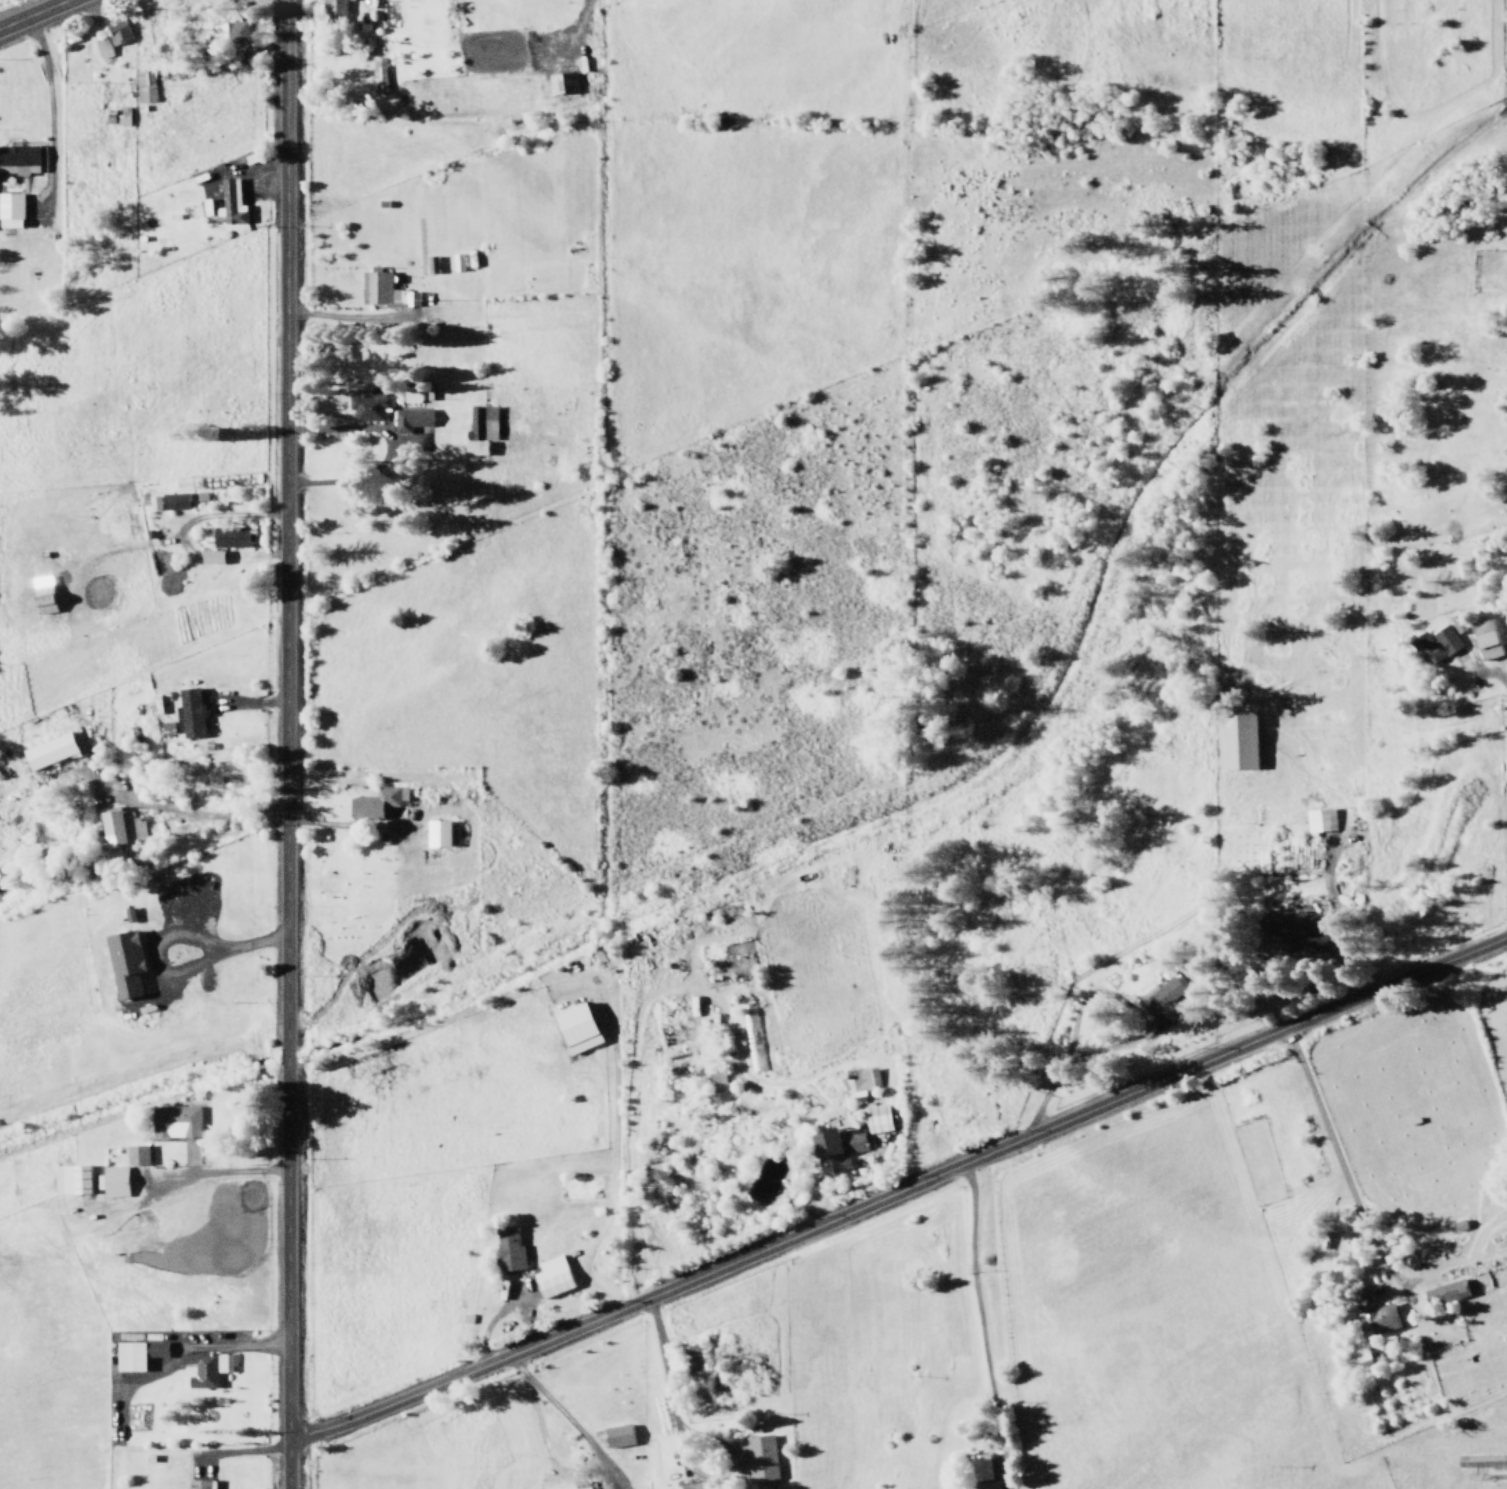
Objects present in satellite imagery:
building: (333, 10)
road: (33, 13)
building: (116, 30)
building: (228, 30)
building: (102, 47)
building: (377, 73)
building: (561, 80)
building: (144, 85)
building: (18, 158)
building: (230, 201)
building: (10, 209)
building: (375, 285)
building: (413, 419)
building: (479, 427)
building: (167, 500)
building: (229, 535)
building: (210, 555)
building: (42, 594)
building: (1485, 638)
building: (1434, 643)
building: (191, 710)
building: (1236, 738)
road: (283, 744)
building: (48, 750)
building: (376, 801)
road: (1506, 808)
building: (1319, 819)
building: (122, 830)
building: (437, 832)
building: (1292, 926)
building: (124, 962)
building: (1160, 997)
building: (575, 1028)
building: (870, 1076)
building: (718, 1081)
building: (877, 1117)
building: (174, 1120)
building: (837, 1148)
building: (136, 1154)
building: (70, 1179)
building: (111, 1180)
road: (898, 1188)
building: (509, 1248)
building: (551, 1276)
building: (1445, 1292)
building: (1376, 1317)
building: (136, 1350)
building: (695, 1357)
building: (205, 1368)
building: (617, 1435)
building: (755, 1456)
building: (1486, 1464)
building: (980, 1467)
building: (201, 1484)
building: (694, 1485)
building: (986, 1485)
building: (584, 1488)

